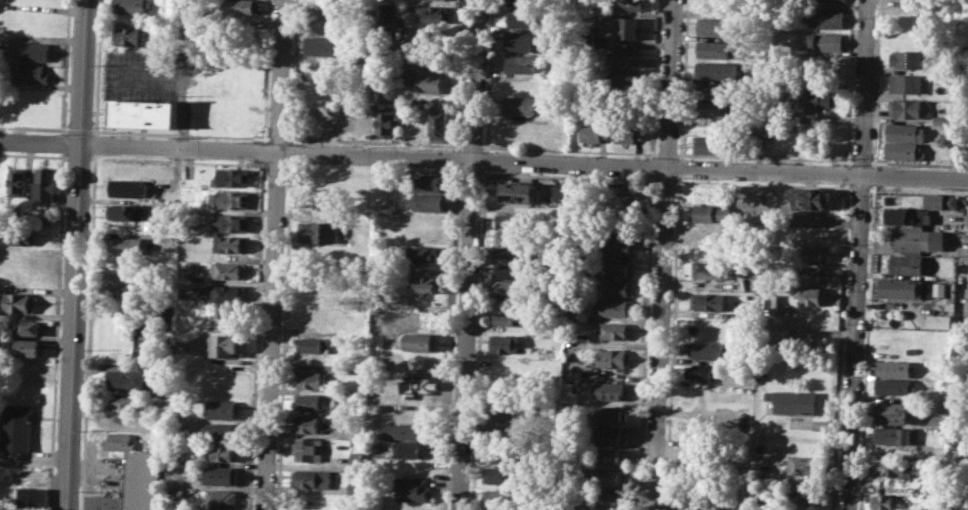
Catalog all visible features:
building: (835, 0)
building: (525, 2)
building: (627, 5)
building: (243, 6)
building: (132, 7)
building: (388, 14)
building: (434, 14)
building: (524, 17)
building: (822, 18)
building: (242, 24)
building: (713, 26)
building: (627, 28)
building: (130, 36)
building: (525, 41)
building: (822, 42)
building: (321, 45)
building: (712, 49)
building: (34, 51)
building: (623, 55)
building: (908, 59)
building: (523, 63)
building: (713, 71)
building: (32, 74)
parking lot: (142, 74)
road: (185, 74)
building: (624, 77)
road: (849, 82)
road: (875, 83)
building: (906, 83)
building: (435, 85)
building: (713, 91)
building: (820, 97)
building: (623, 99)
building: (521, 105)
building: (334, 108)
building: (713, 109)
building: (906, 109)
building: (147, 112)
building: (385, 119)
building: (944, 120)
building: (437, 124)
building: (594, 131)
building: (628, 131)
building: (904, 132)
building: (711, 145)
building: (904, 150)
road: (483, 161)
road: (846, 173)
road: (873, 175)
building: (234, 176)
building: (428, 181)
building: (18, 183)
building: (46, 184)
building: (130, 188)
building: (556, 191)
building: (521, 193)
building: (809, 197)
building: (229, 199)
building: (939, 200)
building: (640, 201)
building: (427, 202)
building: (127, 211)
building: (710, 212)
building: (908, 217)
building: (516, 220)
building: (231, 222)
building: (620, 229)
building: (711, 230)
building: (323, 231)
building: (24, 235)
building: (514, 237)
building: (915, 240)
building: (231, 243)
building: (128, 245)
building: (618, 247)
road: (273, 254)
building: (419, 254)
road: (662, 254)
building: (815, 254)
road: (76, 255)
road: (469, 255)
building: (513, 255)
road: (857, 255)
building: (906, 264)
building: (618, 269)
building: (709, 269)
building: (737, 269)
building: (229, 270)
building: (512, 271)
building: (813, 275)
building: (422, 283)
building: (511, 287)
building: (619, 287)
building: (904, 288)
building: (130, 289)
building: (939, 289)
building: (228, 291)
building: (810, 294)
building: (377, 297)
building: (708, 301)
building: (20, 302)
building: (615, 307)
building: (231, 309)
building: (507, 319)
building: (28, 326)
building: (613, 331)
building: (418, 341)
building: (503, 343)
building: (313, 344)
building: (228, 345)
road: (839, 346)
building: (30, 347)
road: (866, 347)
building: (703, 349)
building: (911, 350)
building: (612, 357)
building: (894, 368)
building: (702, 371)
building: (760, 375)
building: (127, 379)
building: (311, 380)
building: (894, 386)
building: (419, 389)
building: (610, 391)
building: (796, 401)
building: (122, 402)
building: (311, 402)
building: (222, 409)
building: (892, 413)
building: (611, 414)
building: (311, 424)
building: (18, 427)
building: (223, 431)
building: (404, 431)
building: (893, 435)
building: (610, 437)
building: (309, 449)
building: (410, 449)
building: (226, 452)
building: (501, 453)
building: (610, 457)
building: (355, 461)
building: (806, 465)
building: (893, 467)
building: (501, 474)
building: (220, 475)
building: (607, 477)
building: (132, 478)
building: (312, 480)
building: (413, 489)
building: (33, 496)
building: (803, 496)
building: (500, 497)
building: (222, 498)
building: (607, 500)
building: (886, 502)

